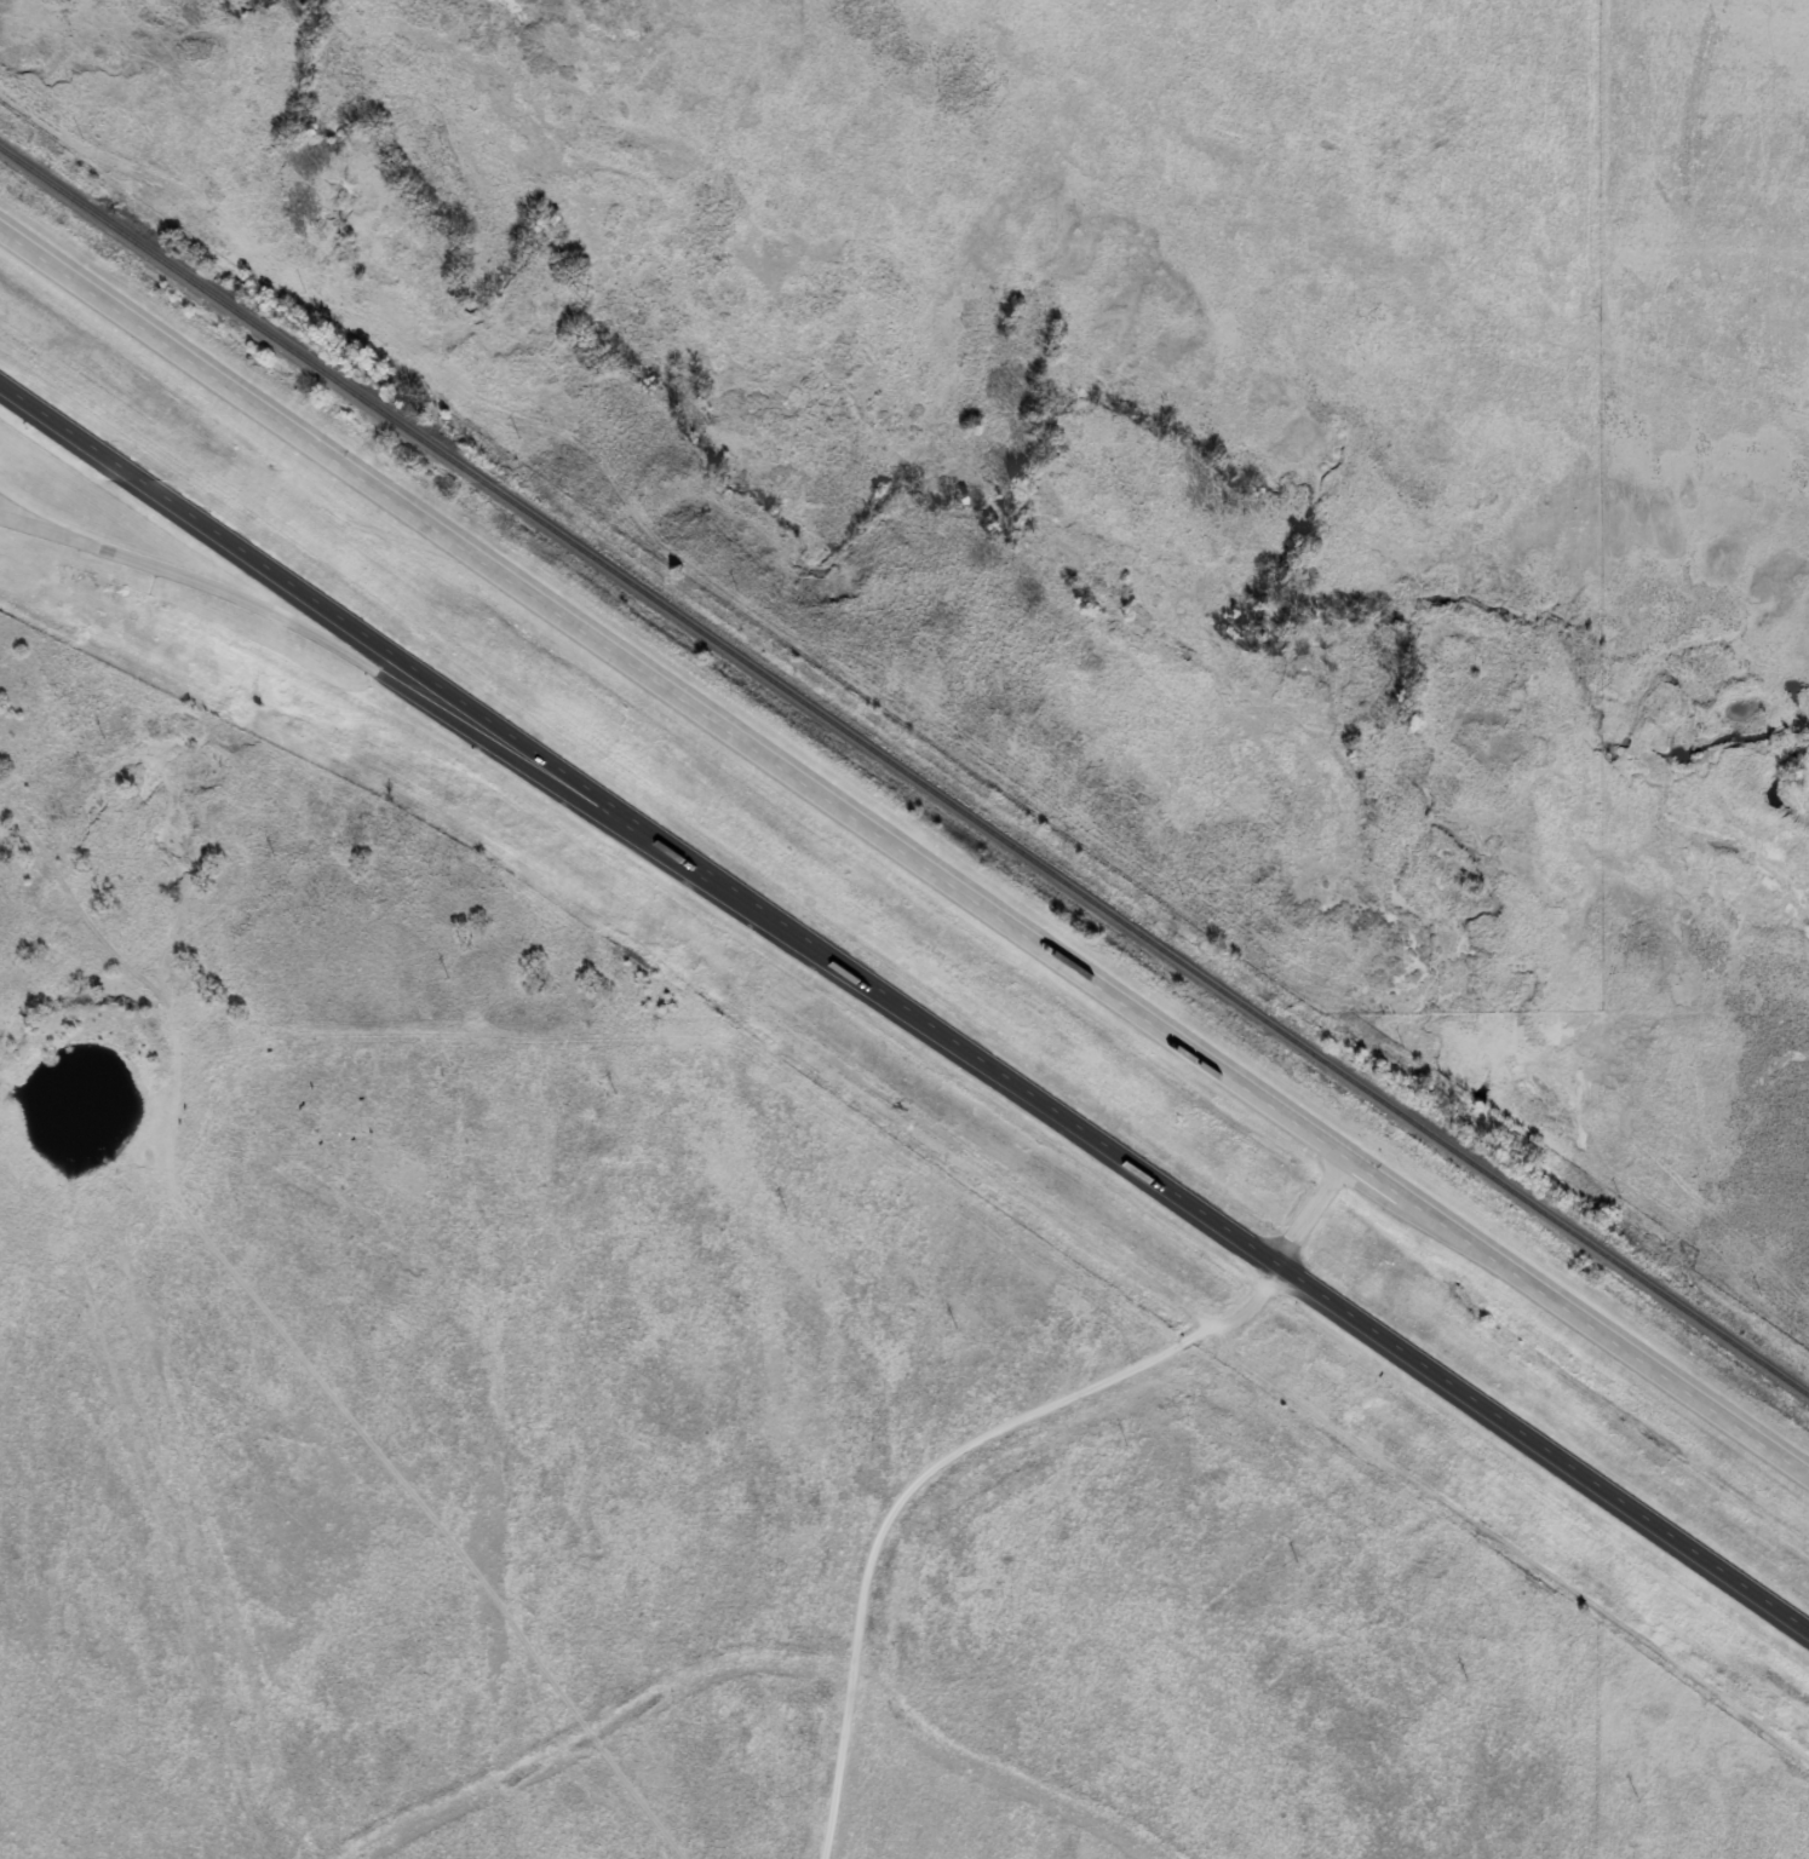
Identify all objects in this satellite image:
road: (12, 514)
road: (12, 520)
road: (369, 669)
railway: (904, 773)
road: (902, 847)
road: (904, 998)
road: (811, 1128)

